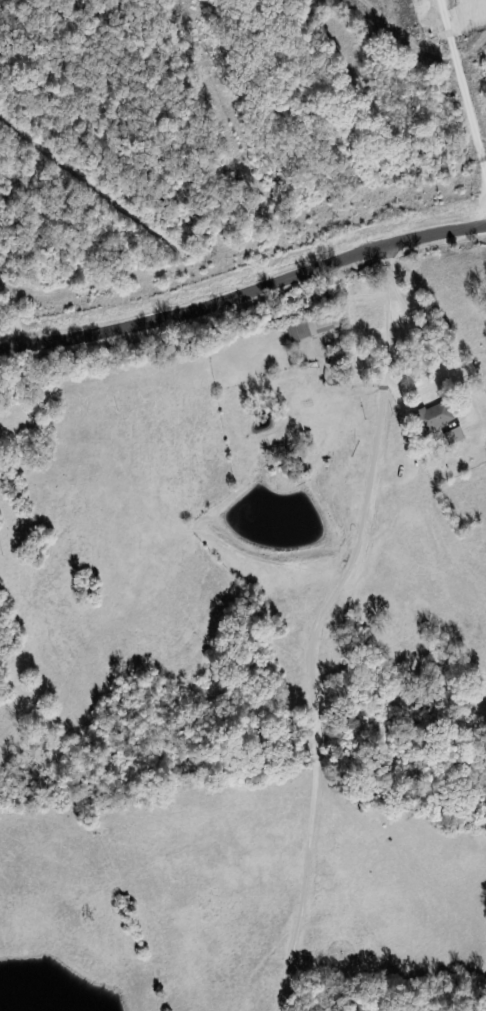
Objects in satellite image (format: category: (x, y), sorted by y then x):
road: (388, 266)
road: (245, 294)
road: (415, 330)
road: (309, 643)

